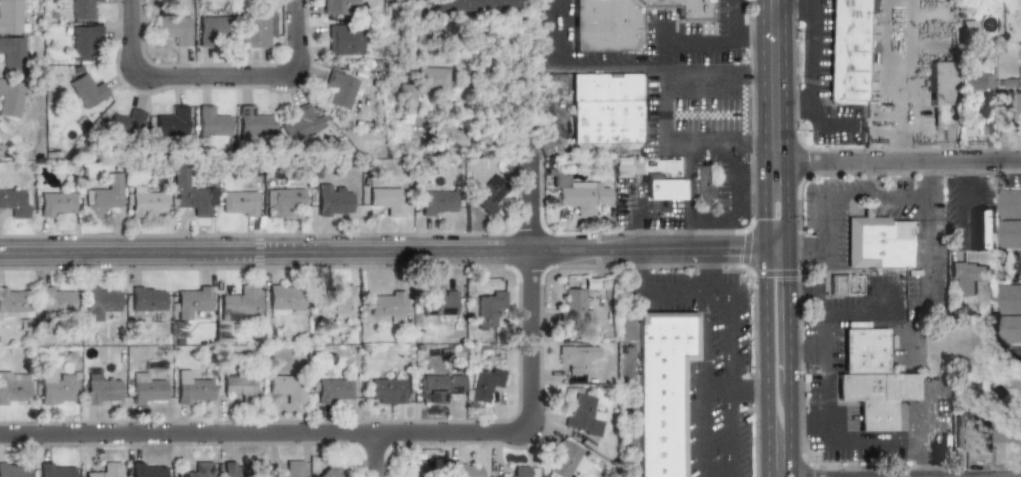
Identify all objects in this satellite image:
building: (477, 6)
building: (339, 7)
building: (82, 8)
building: (10, 16)
road: (735, 17)
building: (622, 22)
building: (213, 27)
building: (174, 28)
building: (256, 29)
road: (754, 34)
building: (345, 39)
building: (83, 40)
road: (700, 43)
building: (847, 51)
building: (11, 53)
road: (814, 57)
road: (577, 65)
road: (773, 69)
road: (217, 75)
road: (761, 76)
road: (706, 77)
building: (977, 81)
road: (663, 85)
building: (421, 86)
road: (913, 87)
building: (341, 89)
building: (85, 90)
building: (943, 93)
building: (10, 97)
building: (1016, 107)
building: (606, 108)
building: (170, 121)
building: (211, 121)
building: (251, 122)
building: (303, 123)
building: (125, 124)
road: (471, 134)
road: (756, 141)
road: (702, 144)
road: (773, 151)
road: (897, 164)
road: (964, 169)
road: (768, 170)
road: (779, 170)
road: (927, 181)
road: (740, 182)
building: (664, 189)
building: (701, 189)
building: (489, 193)
building: (192, 194)
building: (578, 195)
building: (101, 196)
road: (874, 198)
building: (281, 200)
building: (387, 200)
building: (331, 201)
building: (436, 201)
building: (13, 202)
building: (145, 202)
building: (237, 203)
building: (1009, 203)
building: (55, 204)
road: (964, 209)
road: (786, 211)
road: (763, 212)
road: (821, 222)
building: (981, 229)
building: (1009, 234)
building: (876, 242)
road: (775, 247)
road: (804, 247)
road: (733, 248)
road: (351, 251)
road: (926, 254)
road: (787, 268)
road: (634, 270)
road: (703, 270)
road: (1009, 271)
building: (966, 278)
building: (844, 284)
road: (682, 291)
road: (809, 295)
building: (56, 298)
building: (147, 298)
building: (1009, 298)
building: (13, 299)
building: (285, 299)
building: (191, 300)
building: (334, 300)
building: (99, 301)
building: (242, 303)
building: (437, 304)
building: (387, 305)
building: (487, 306)
building: (573, 306)
road: (856, 312)
building: (1010, 328)
road: (789, 336)
road: (806, 351)
road: (1010, 354)
building: (576, 361)
road: (766, 362)
road: (822, 367)
road: (927, 372)
building: (872, 379)
building: (483, 382)
road: (631, 384)
road: (704, 384)
road: (730, 384)
building: (238, 386)
building: (56, 387)
building: (287, 387)
building: (442, 387)
building: (13, 388)
building: (145, 389)
building: (191, 389)
building: (333, 389)
building: (662, 390)
building: (101, 391)
building: (387, 391)
road: (735, 391)
building: (583, 415)
road: (811, 423)
building: (966, 428)
building: (1006, 430)
road: (789, 431)
road: (834, 433)
road: (400, 436)
road: (880, 442)
road: (372, 457)
building: (565, 459)
building: (463, 468)
building: (147, 469)
building: (289, 469)
building: (14, 470)
building: (56, 470)
building: (106, 470)
building: (199, 470)
building: (234, 470)
building: (330, 471)
building: (520, 471)
building: (413, 476)

